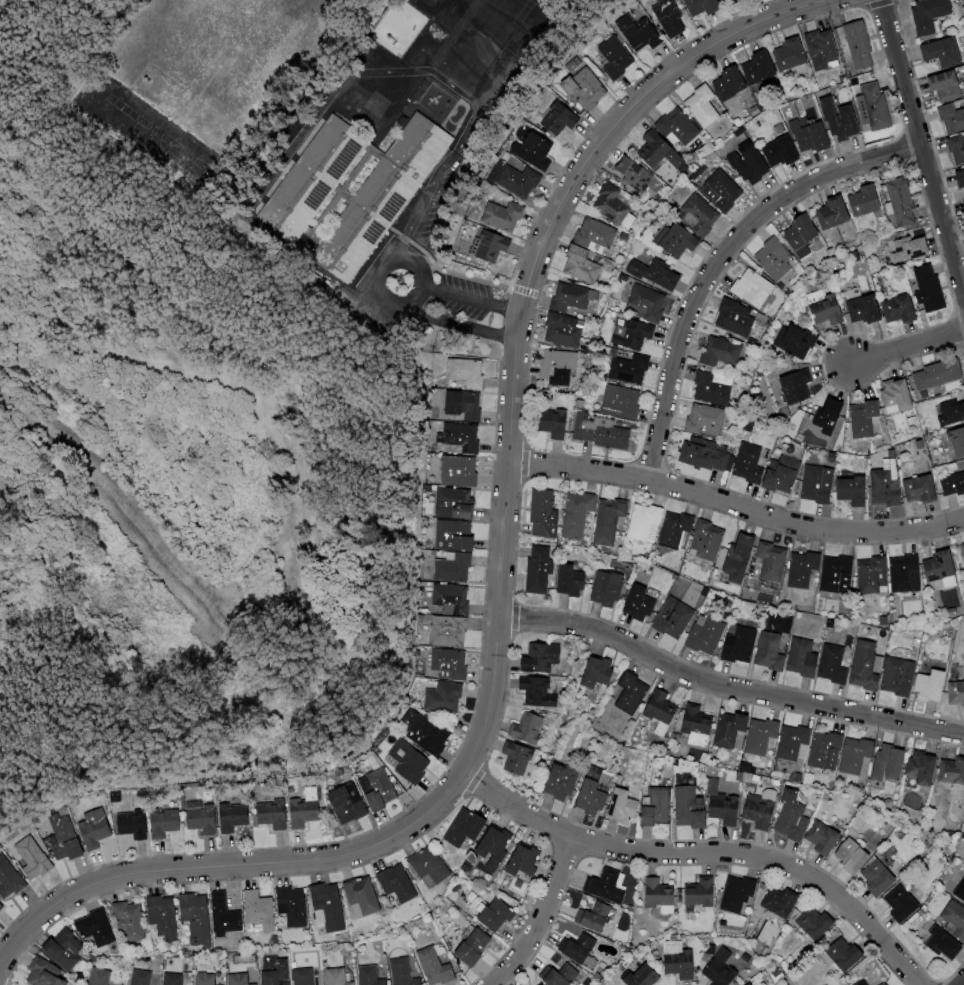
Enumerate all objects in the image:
building: (737, 1)
building: (711, 5)
building: (936, 14)
building: (677, 16)
building: (645, 33)
building: (860, 44)
building: (827, 49)
building: (947, 51)
building: (796, 54)
building: (621, 55)
building: (764, 67)
building: (735, 82)
building: (950, 85)
building: (589, 88)
building: (874, 103)
building: (361, 104)
building: (707, 106)
building: (556, 115)
building: (954, 117)
road: (310, 120)
building: (843, 120)
building: (681, 127)
building: (812, 137)
road: (922, 143)
building: (959, 148)
building: (535, 149)
building: (663, 151)
building: (783, 151)
building: (750, 163)
building: (633, 175)
building: (963, 175)
building: (310, 177)
building: (520, 180)
building: (723, 189)
building: (380, 197)
building: (867, 200)
building: (904, 201)
building: (963, 201)
building: (611, 204)
building: (834, 213)
road: (415, 214)
building: (699, 215)
building: (503, 216)
building: (596, 233)
building: (801, 235)
building: (677, 240)
building: (493, 246)
building: (914, 249)
road: (721, 258)
building: (775, 258)
building: (581, 265)
road: (381, 266)
building: (655, 273)
building: (753, 288)
building: (932, 288)
building: (568, 298)
road: (470, 300)
building: (648, 302)
building: (866, 308)
building: (902, 308)
building: (829, 310)
building: (735, 317)
road: (458, 323)
building: (562, 330)
building: (631, 332)
building: (796, 342)
road: (908, 348)
building: (721, 351)
building: (558, 368)
building: (629, 369)
building: (468, 372)
building: (947, 372)
building: (796, 387)
building: (711, 388)
building: (898, 397)
building: (621, 402)
building: (467, 405)
building: (954, 413)
building: (829, 415)
building: (865, 419)
building: (705, 420)
building: (555, 424)
building: (603, 433)
building: (461, 436)
building: (959, 442)
building: (705, 456)
building: (748, 463)
building: (460, 471)
building: (782, 474)
building: (818, 484)
building: (887, 485)
building: (953, 485)
building: (923, 489)
building: (854, 491)
building: (457, 503)
road: (737, 506)
building: (543, 514)
building: (577, 514)
building: (608, 521)
building: (645, 523)
building: (674, 530)
building: (456, 536)
building: (706, 541)
building: (961, 552)
building: (737, 561)
building: (771, 561)
building: (454, 567)
building: (539, 570)
building: (803, 570)
building: (943, 572)
building: (906, 574)
building: (873, 576)
building: (836, 577)
road: (502, 579)
building: (572, 581)
building: (608, 589)
building: (452, 599)
building: (640, 603)
building: (673, 618)
building: (449, 631)
building: (705, 636)
building: (739, 645)
building: (770, 651)
building: (540, 658)
building: (803, 658)
building: (450, 664)
building: (834, 665)
building: (866, 666)
building: (599, 672)
building: (900, 677)
building: (933, 686)
road: (727, 687)
building: (536, 691)
building: (631, 693)
building: (958, 693)
building: (444, 698)
building: (661, 712)
building: (697, 726)
building: (527, 728)
building: (425, 732)
building: (731, 732)
building: (763, 737)
building: (793, 749)
building: (826, 751)
building: (857, 757)
building: (521, 760)
building: (409, 762)
building: (890, 765)
building: (925, 769)
building: (953, 772)
building: (561, 781)
building: (378, 789)
building: (593, 796)
building: (348, 804)
building: (624, 806)
building: (656, 807)
building: (691, 808)
building: (726, 812)
building: (304, 815)
building: (758, 815)
building: (275, 818)
building: (234, 820)
building: (793, 821)
building: (207, 823)
building: (138, 826)
building: (168, 828)
building: (465, 828)
building: (100, 830)
building: (824, 838)
building: (71, 841)
building: (493, 848)
road: (707, 853)
building: (854, 857)
building: (37, 859)
building: (524, 862)
building: (428, 867)
building: (12, 879)
building: (879, 879)
building: (396, 886)
building: (609, 887)
building: (960, 892)
building: (738, 893)
building: (701, 894)
building: (361, 897)
building: (660, 899)
building: (782, 902)
building: (903, 905)
building: (291, 906)
building: (3, 908)
building: (328, 908)
building: (260, 911)
building: (495, 914)
road: (543, 916)
building: (164, 918)
building: (598, 918)
building: (954, 918)
building: (197, 919)
building: (132, 921)
building: (226, 923)
building: (817, 924)
building: (98, 930)
building: (945, 944)
building: (474, 948)
building: (582, 948)
building: (65, 950)
building: (846, 955)
building: (435, 966)
building: (684, 967)
building: (723, 969)
building: (402, 972)
building: (47, 974)
building: (302, 976)
building: (370, 976)
building: (565, 976)
building: (100, 977)
building: (275, 977)
building: (336, 977)
building: (141, 978)
building: (210, 978)
building: (648, 978)
building: (174, 979)
building: (239, 979)
building: (874, 979)
building: (539, 984)
building: (751, 984)
road: (963, 984)

